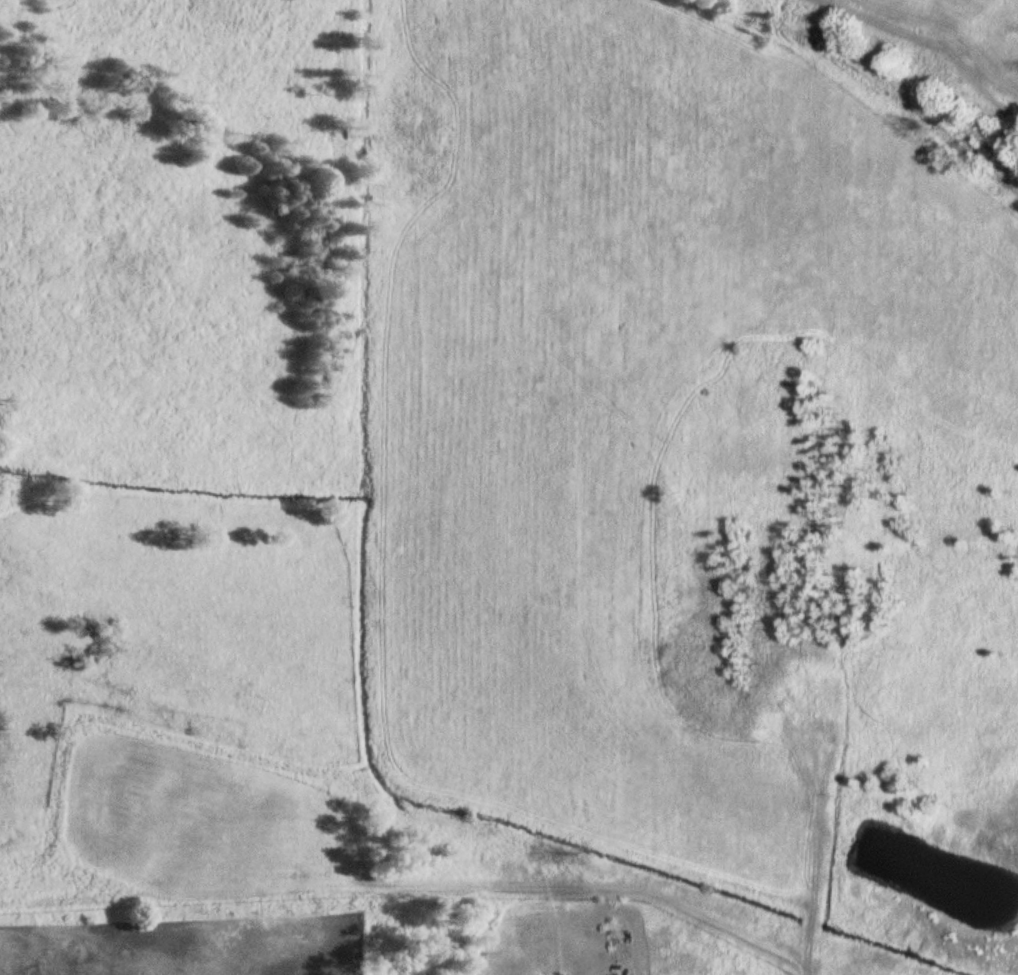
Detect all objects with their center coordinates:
road: (789, 895)

